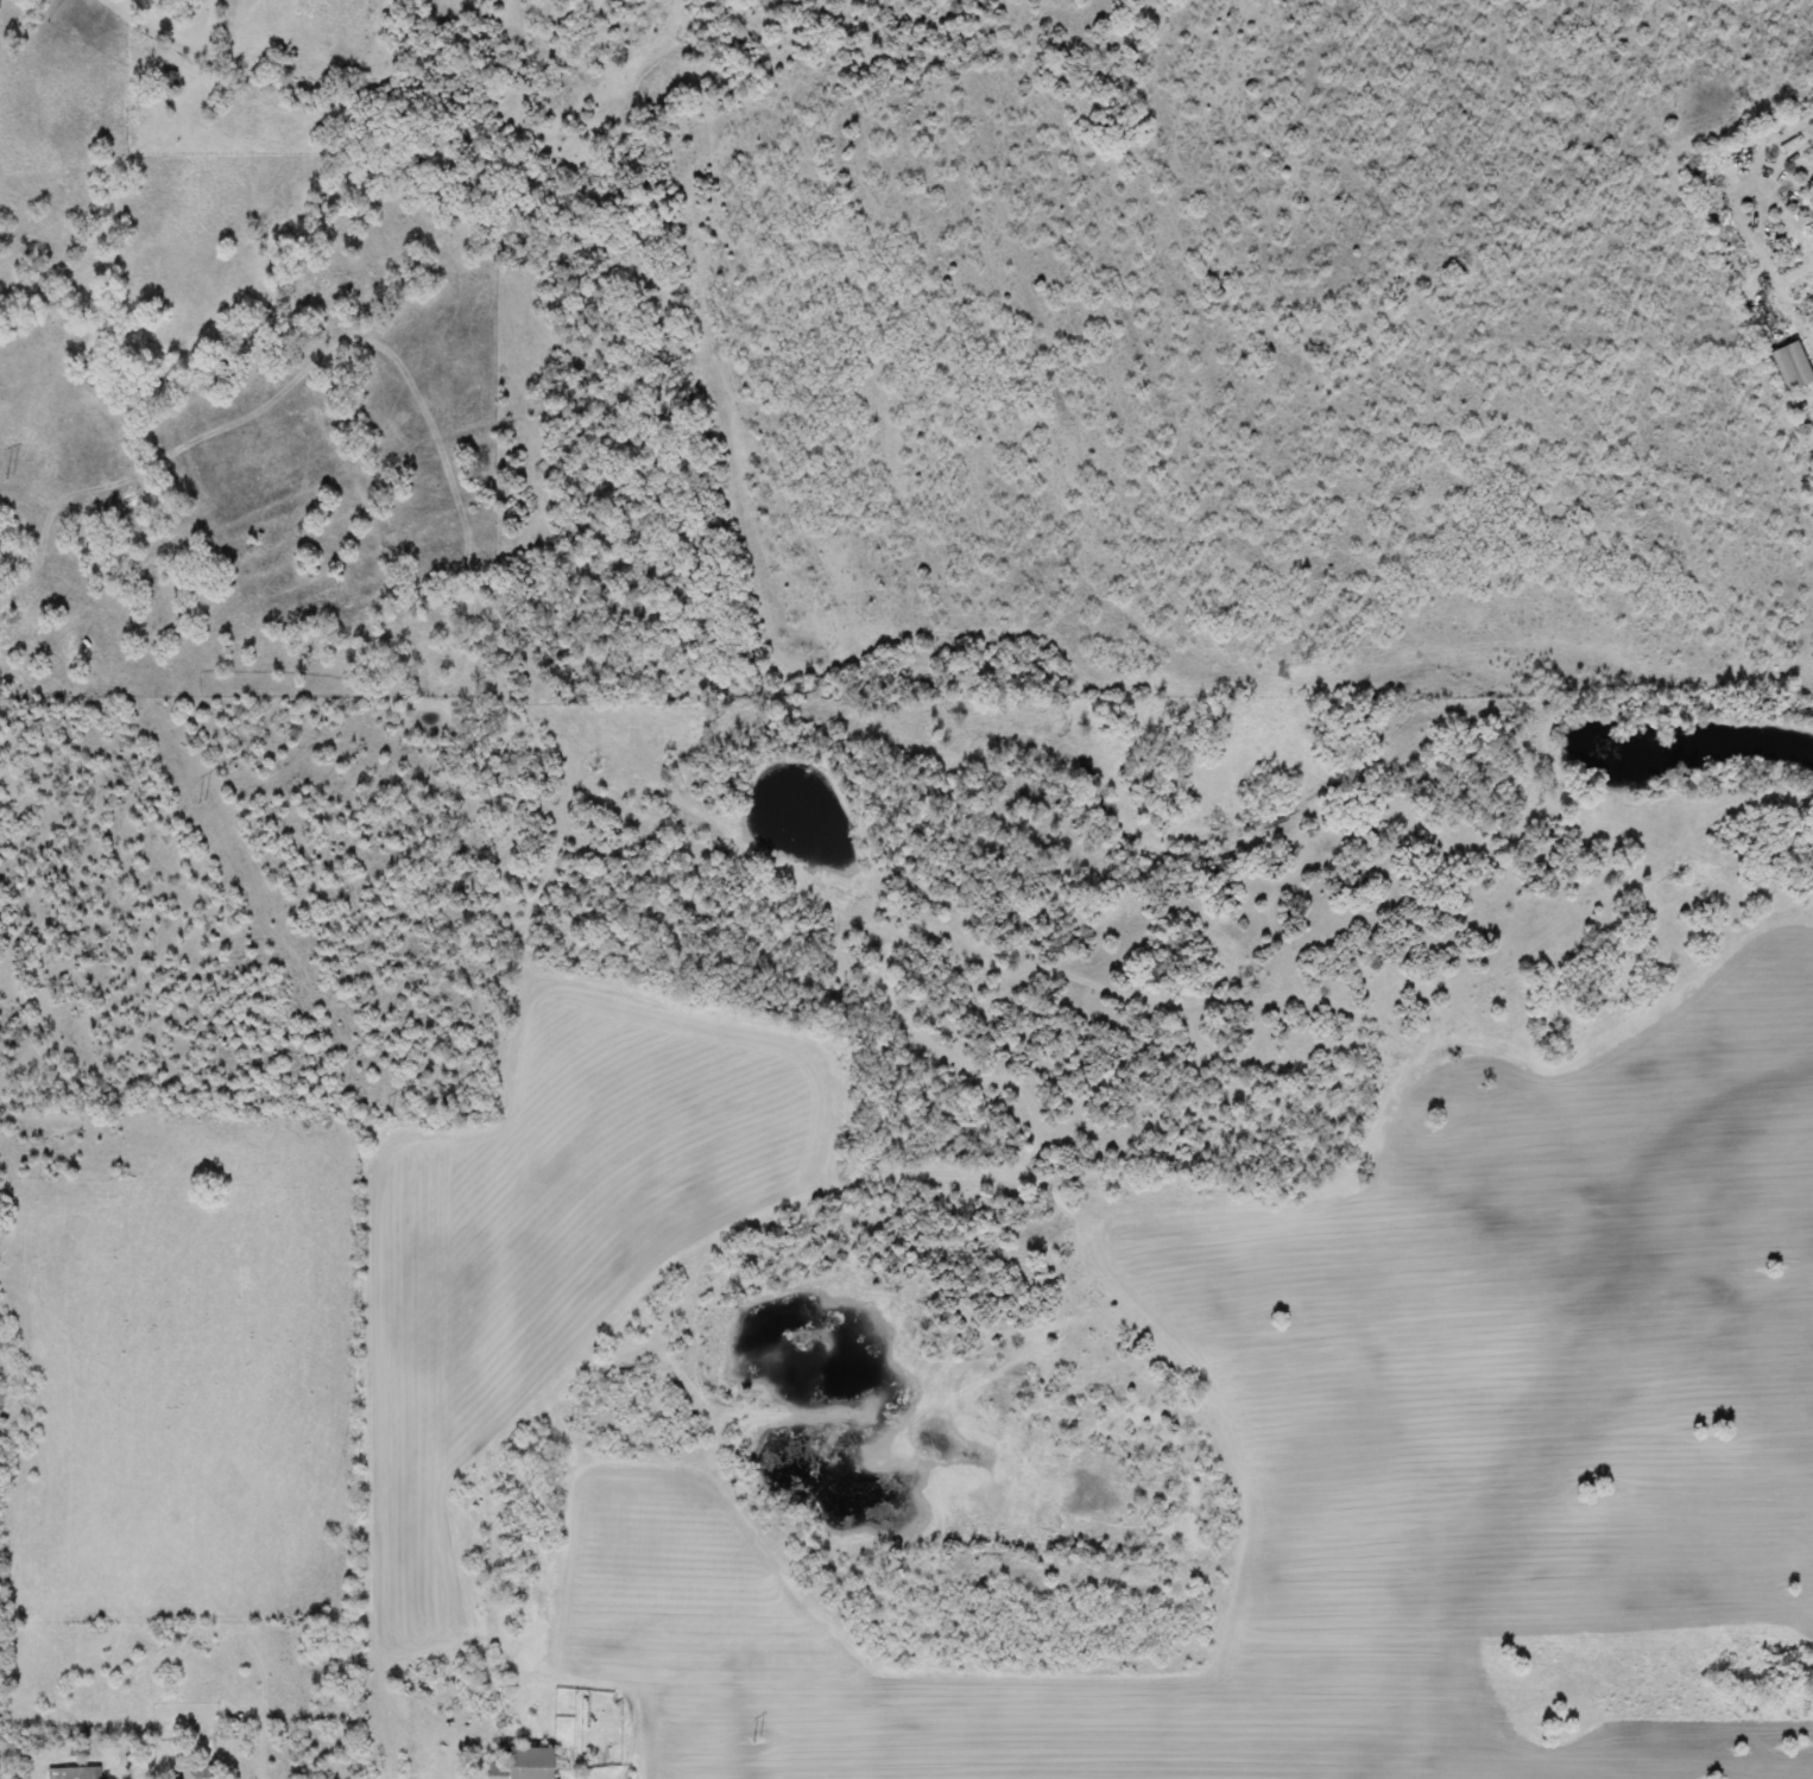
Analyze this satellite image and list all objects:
building: (166, 81)
building: (1762, 318)
building: (1789, 366)
building: (522, 1765)
building: (75, 1773)
building: (192, 1773)

